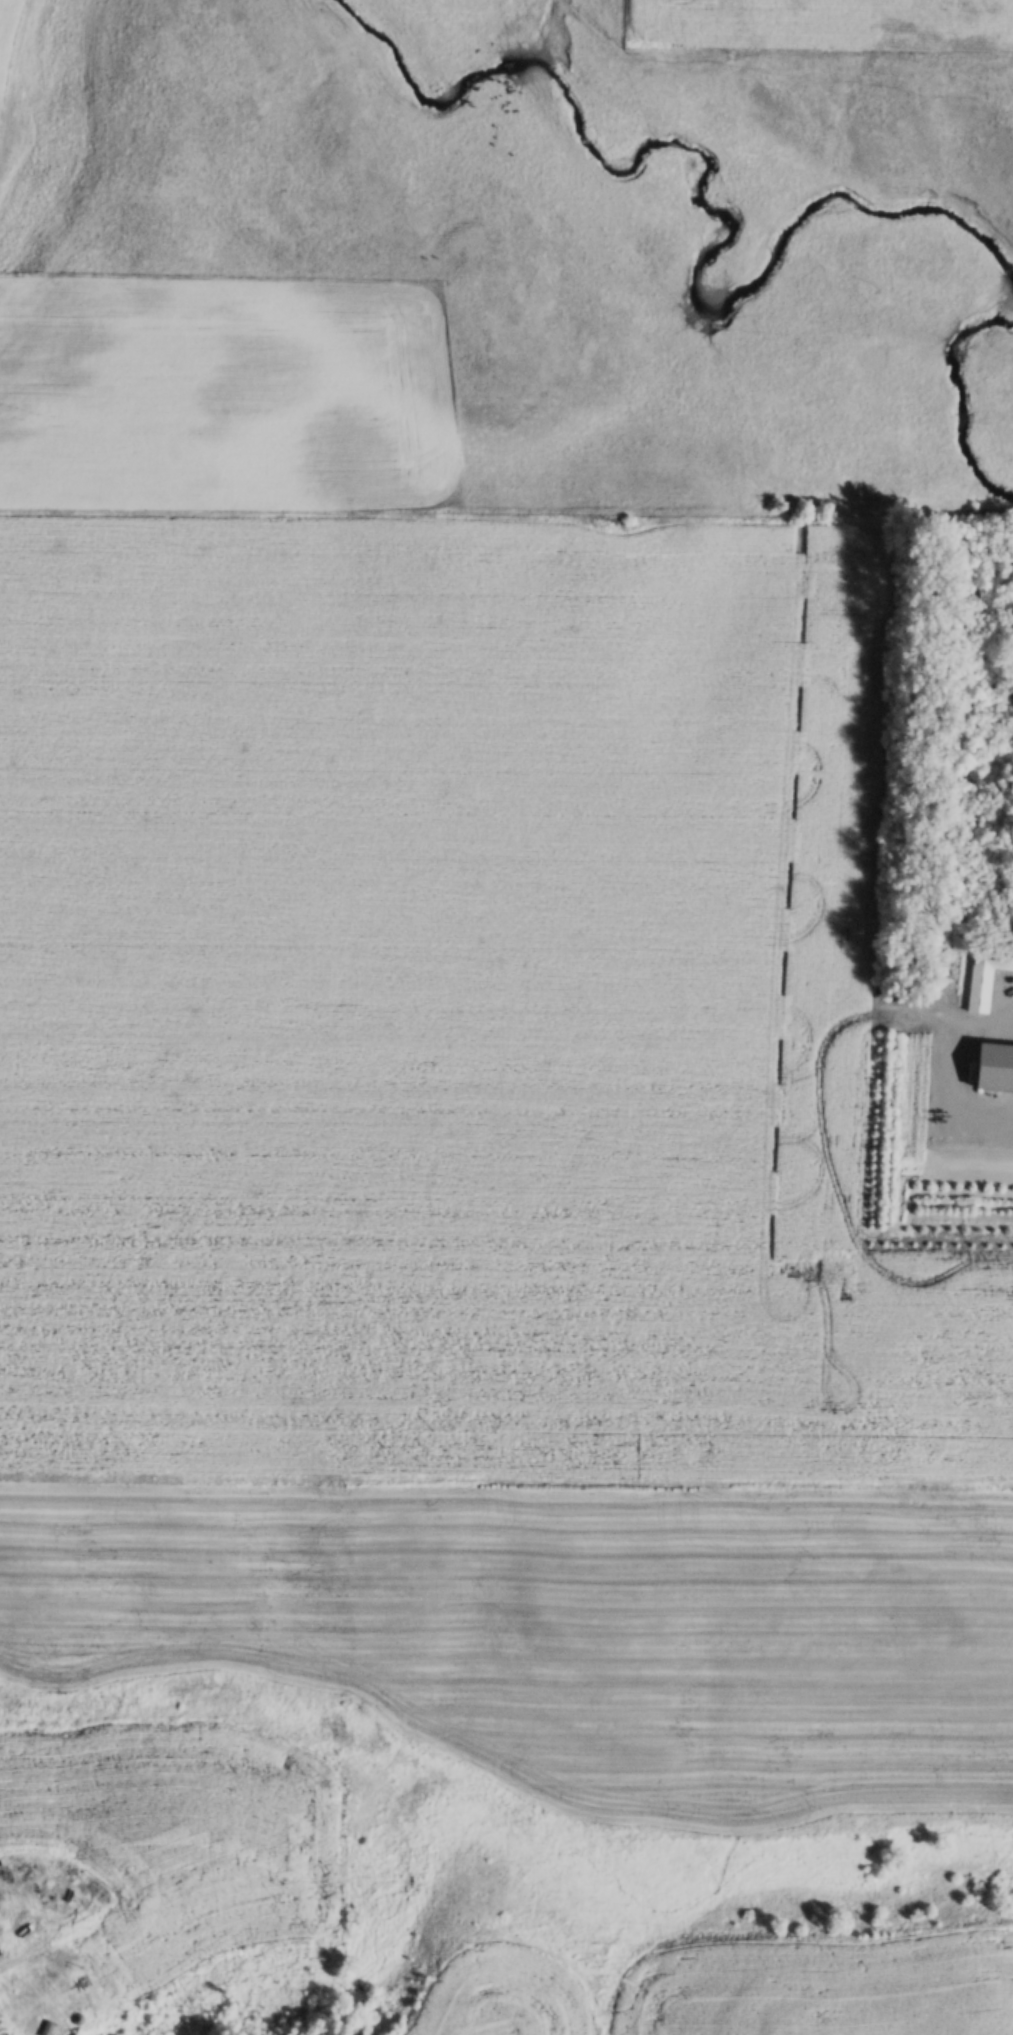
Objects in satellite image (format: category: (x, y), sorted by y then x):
building: (985, 977)
building: (983, 1068)

